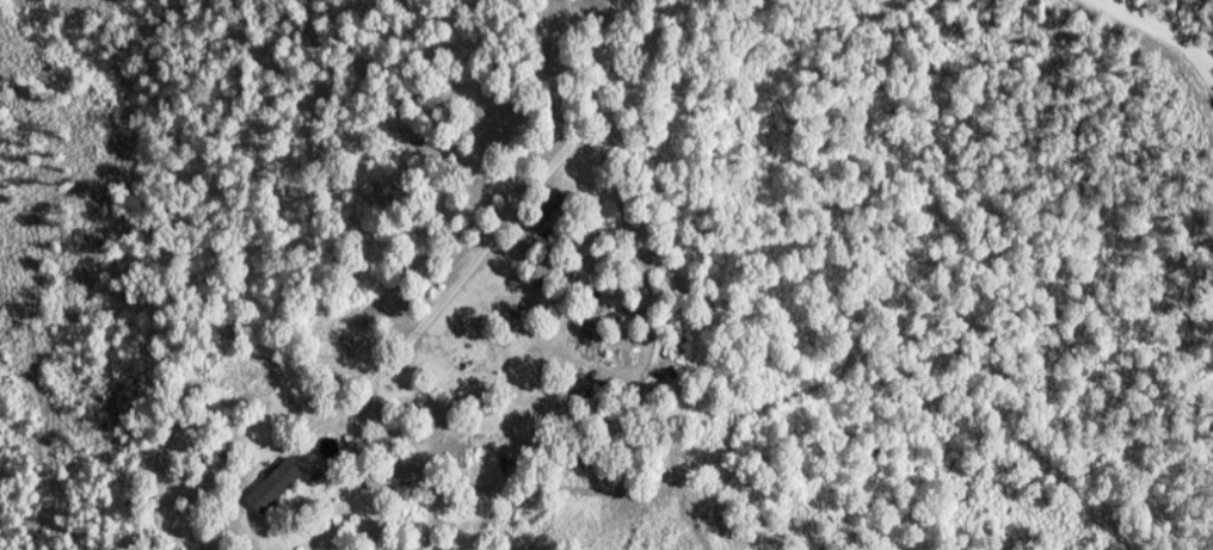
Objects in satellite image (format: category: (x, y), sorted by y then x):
road: (1163, 30)
road: (491, 230)
building: (592, 328)
building: (277, 486)

